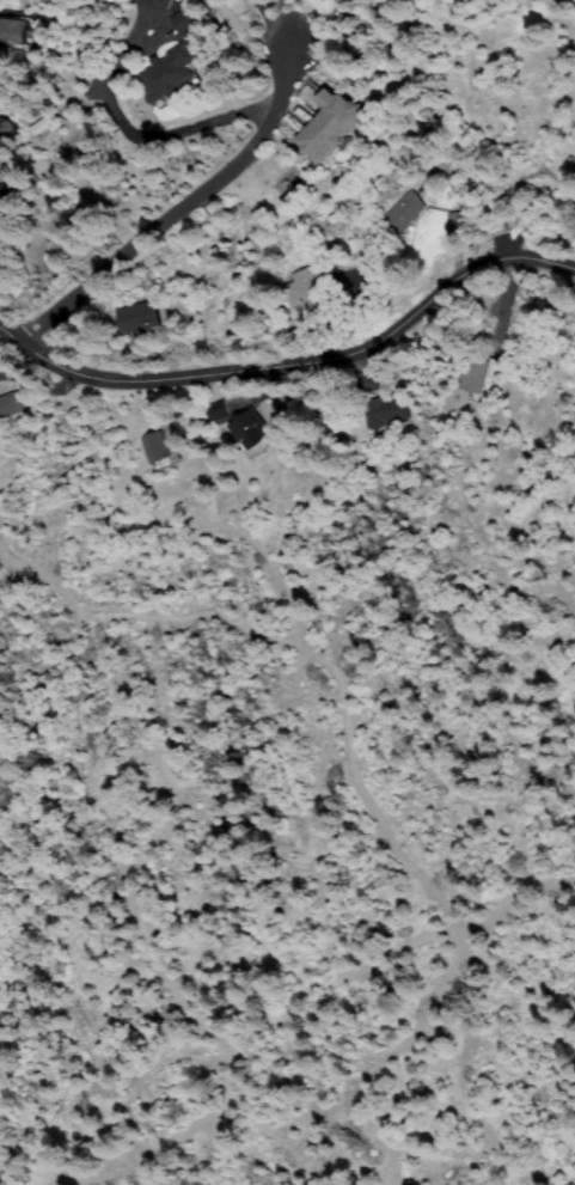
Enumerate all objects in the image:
building: (163, 2)
building: (189, 22)
building: (12, 30)
building: (170, 77)
building: (331, 124)
building: (6, 129)
building: (574, 167)
building: (404, 212)
building: (2, 218)
building: (455, 224)
building: (496, 225)
road: (149, 244)
building: (308, 291)
building: (140, 318)
road: (294, 364)
building: (479, 375)
building: (371, 380)
building: (12, 404)
building: (216, 411)
building: (389, 413)
building: (251, 432)
building: (163, 446)

